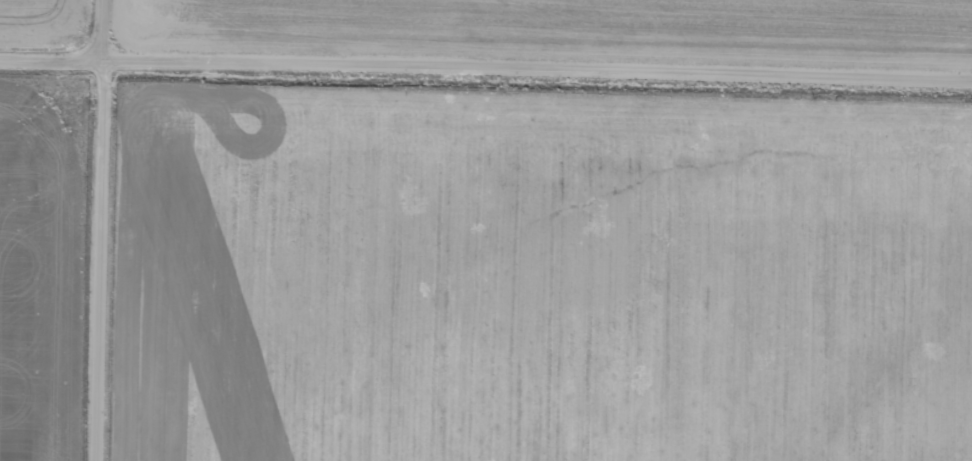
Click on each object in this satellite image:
road: (486, 63)
road: (101, 230)

